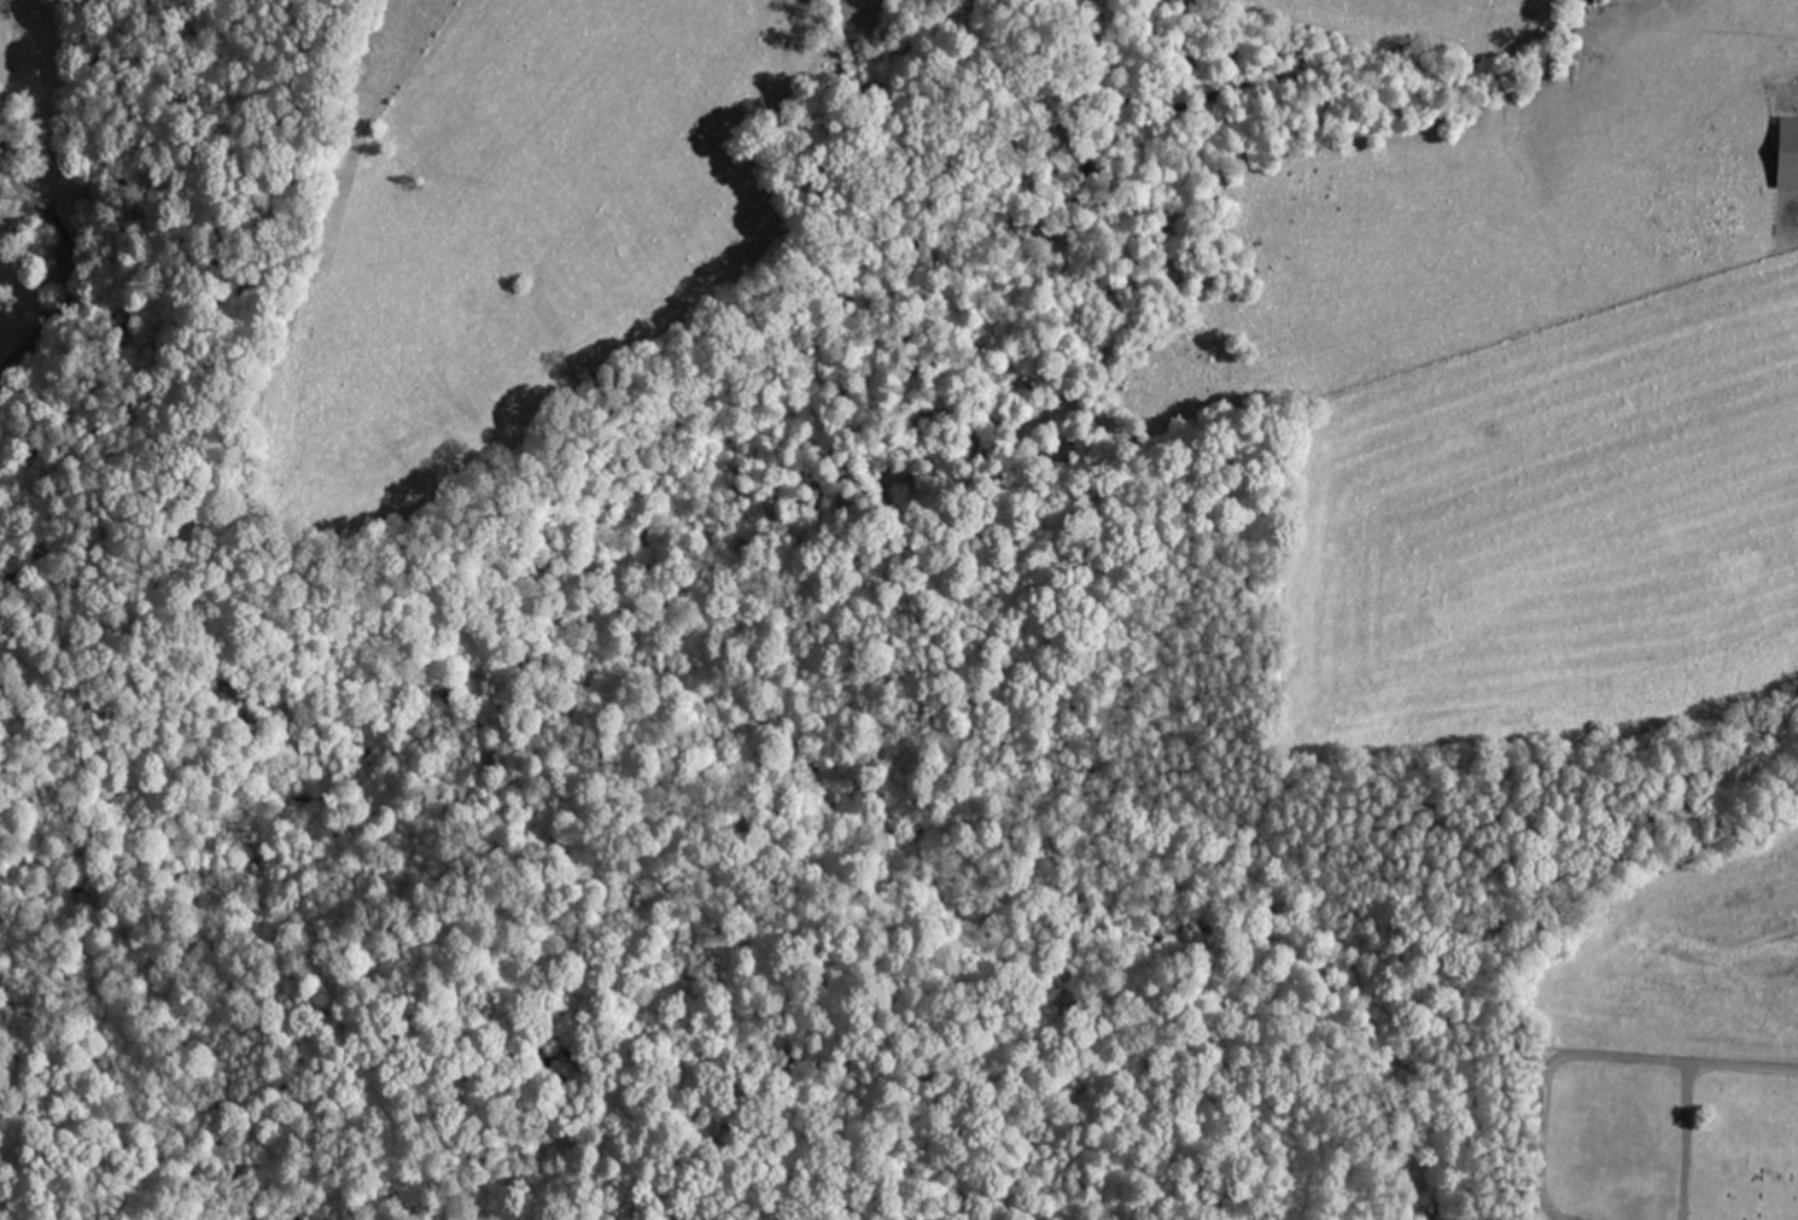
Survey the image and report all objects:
building: (1790, 148)
park: (1662, 1132)

